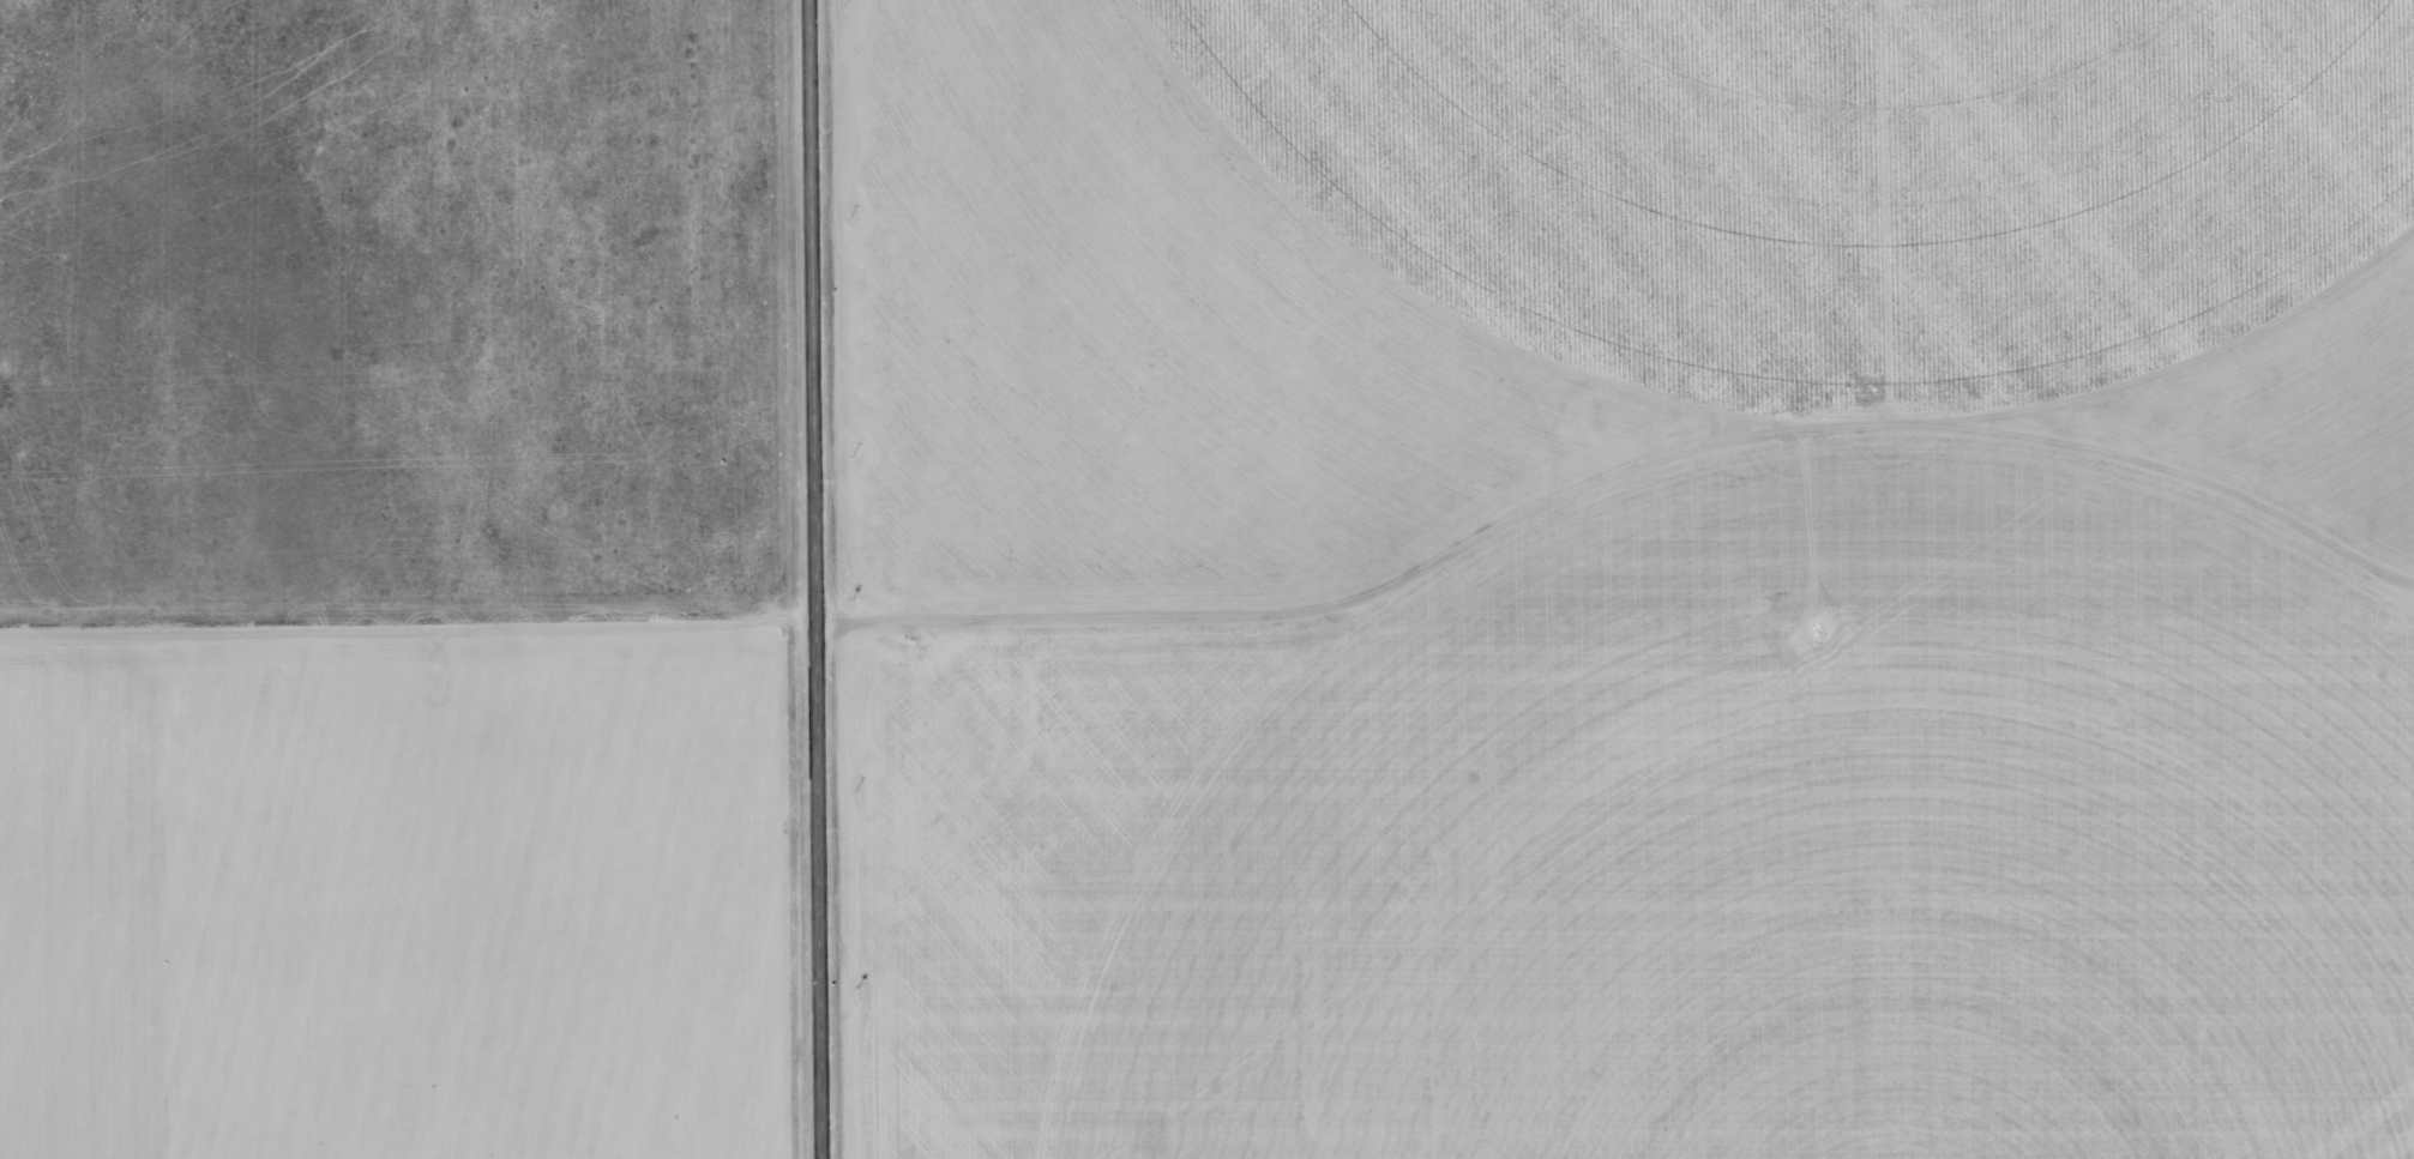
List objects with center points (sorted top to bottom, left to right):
road: (815, 579)

